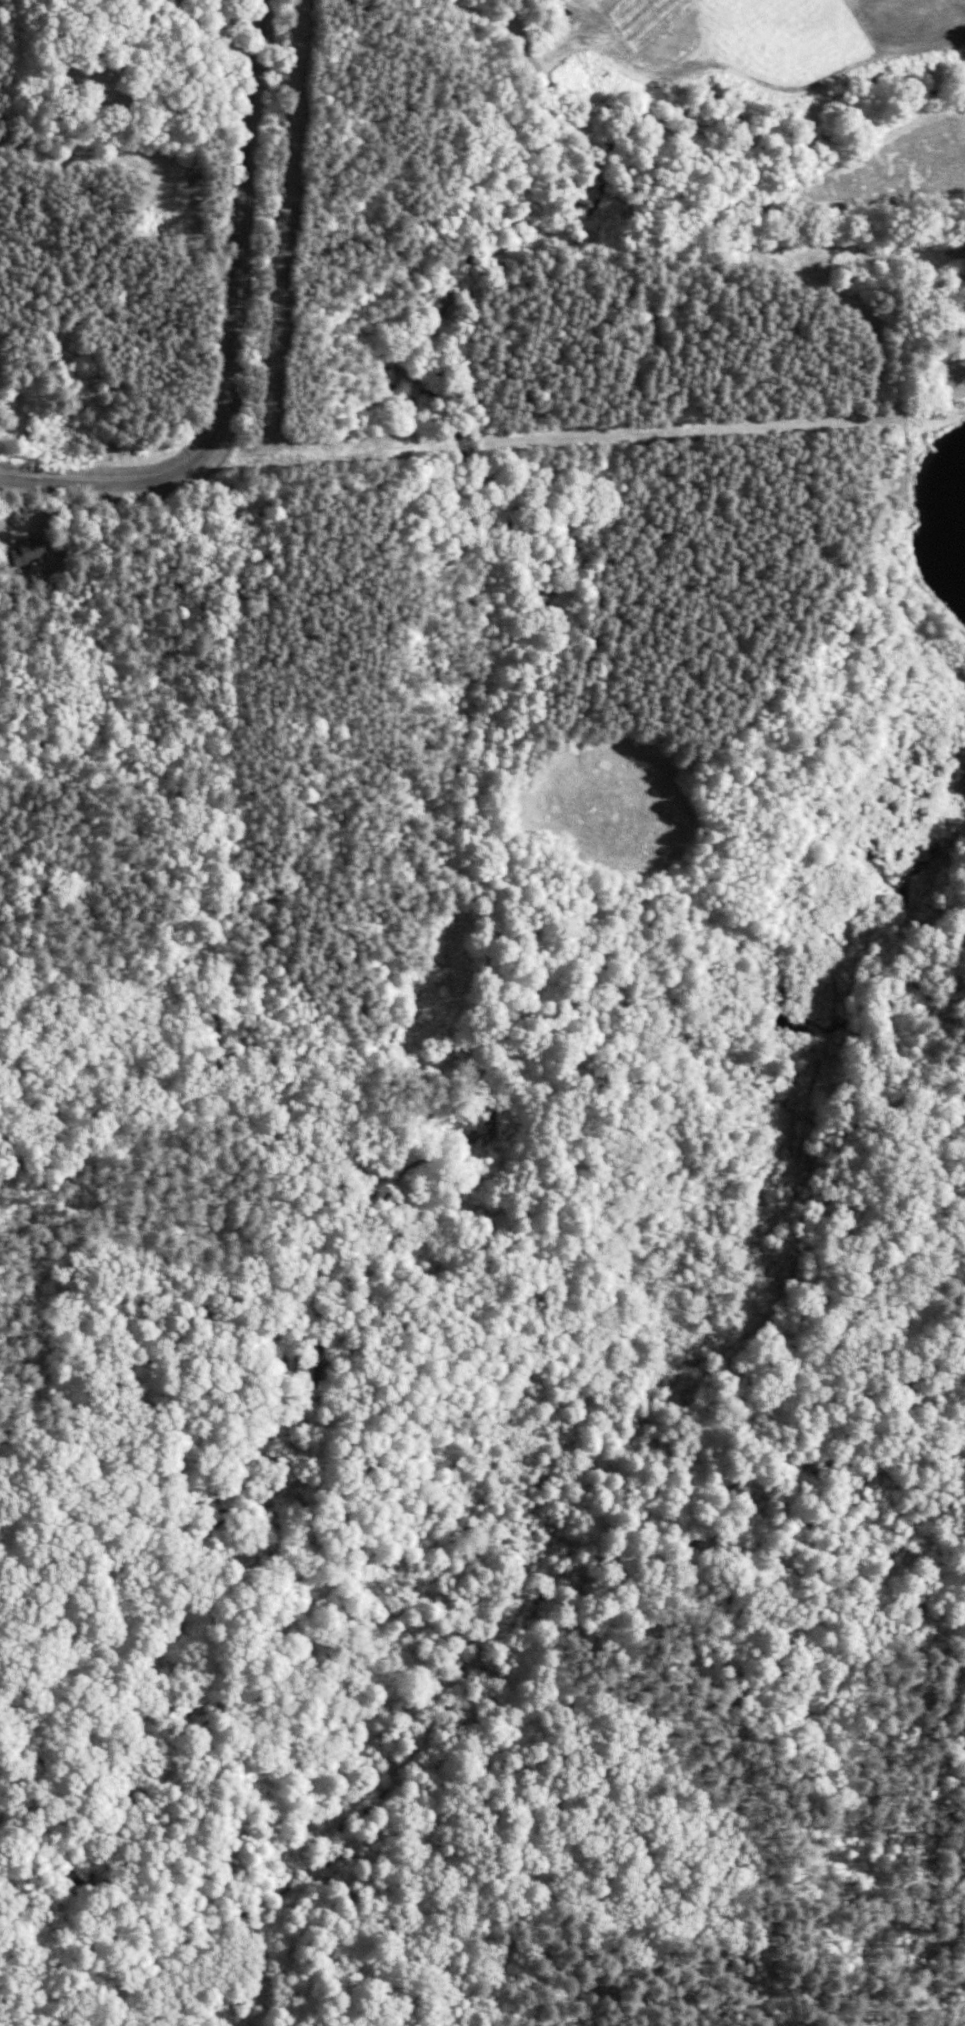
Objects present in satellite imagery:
road: (695, 214)
road: (229, 334)

